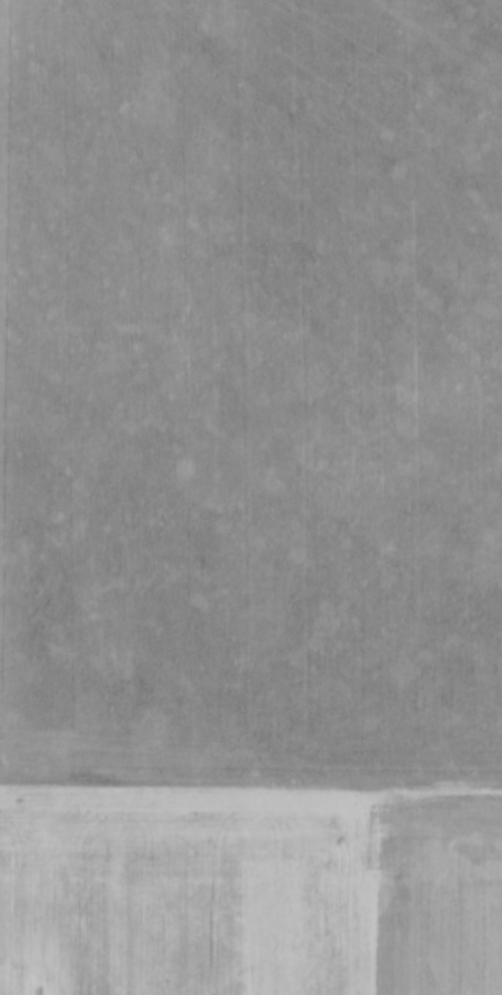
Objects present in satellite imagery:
road: (250, 788)

